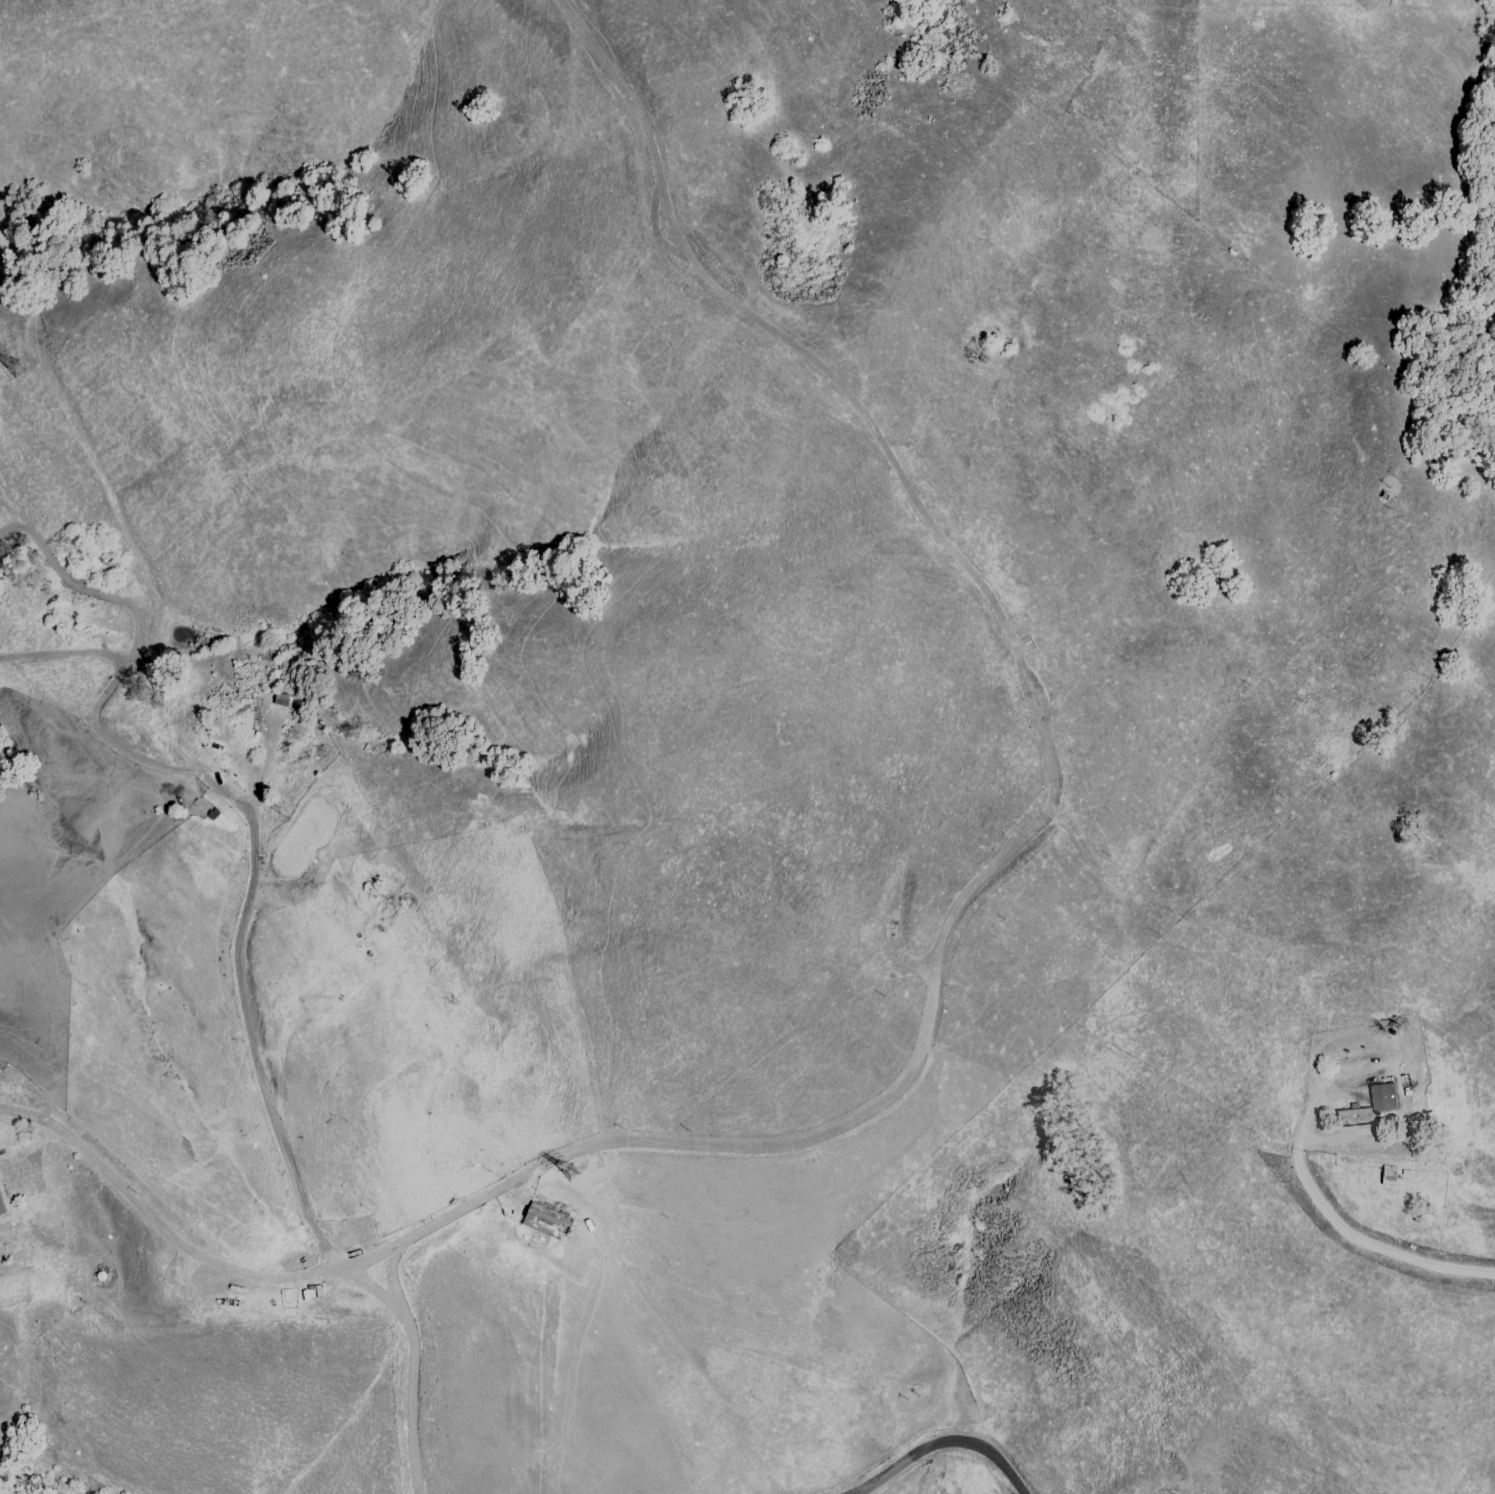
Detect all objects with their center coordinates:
road: (655, 229)
power tower: (15, 372)
road: (1048, 759)
road: (250, 871)
building: (1381, 1096)
building: (1352, 1115)
power tower: (573, 1181)
building: (1, 1208)
building: (546, 1223)
road: (182, 1246)
road: (1367, 1246)
road: (391, 1274)
road: (409, 1368)
road: (940, 1443)

